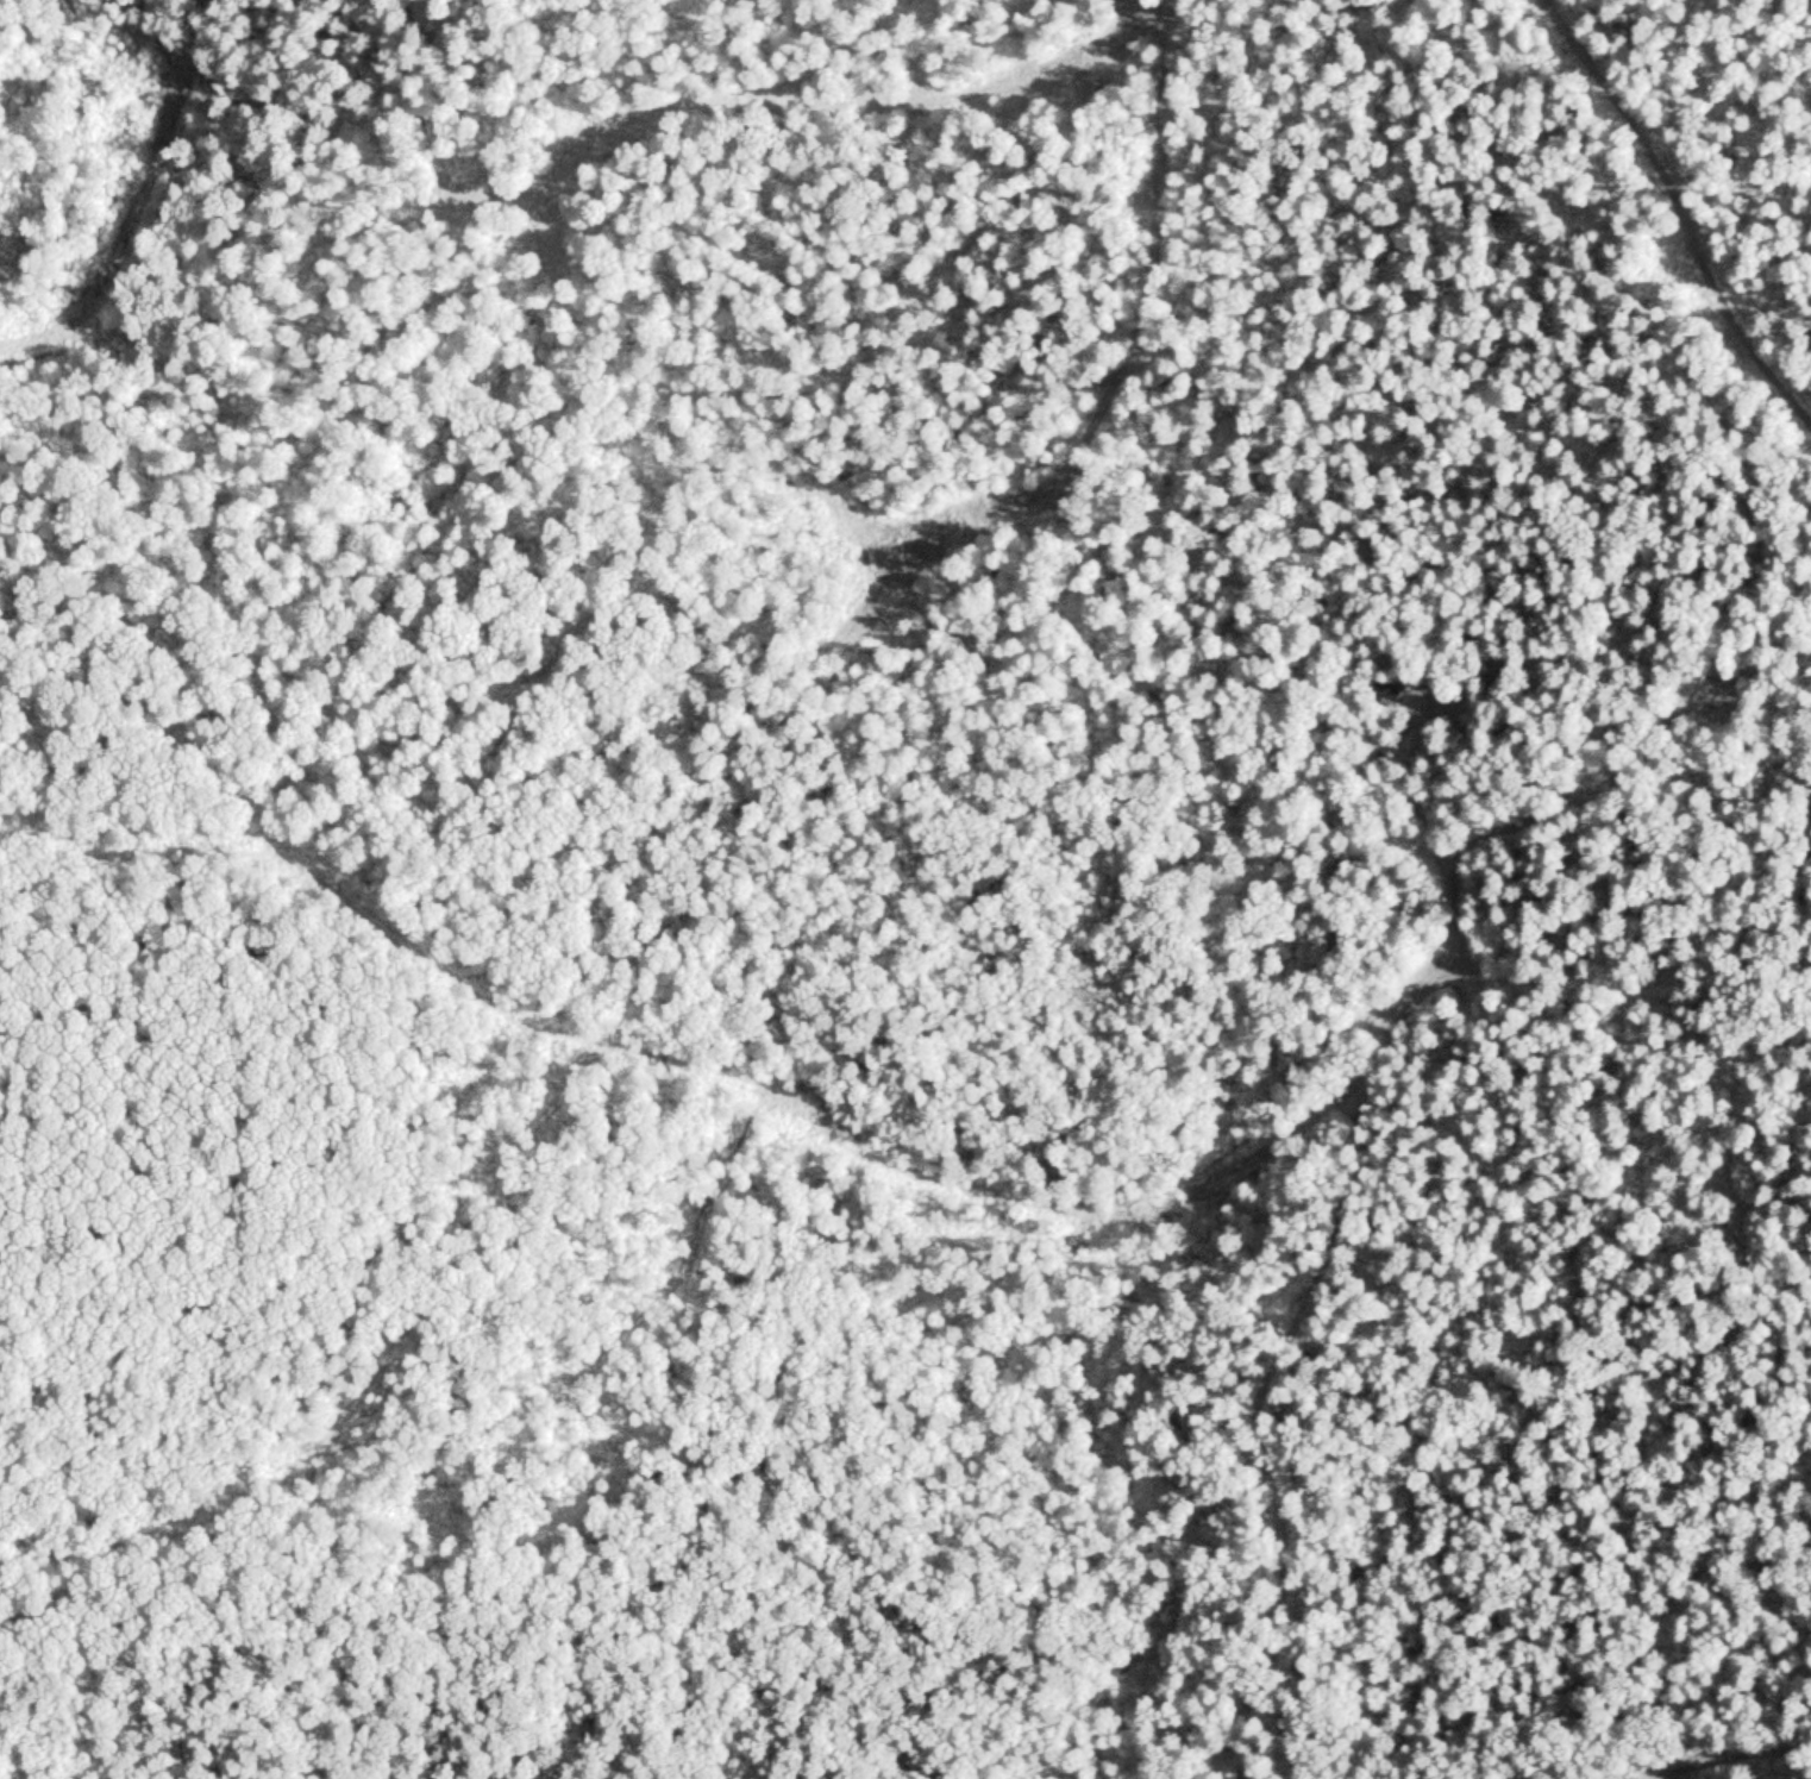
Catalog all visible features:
road: (1659, 207)
road: (1348, 1110)
road: (1727, 1720)

